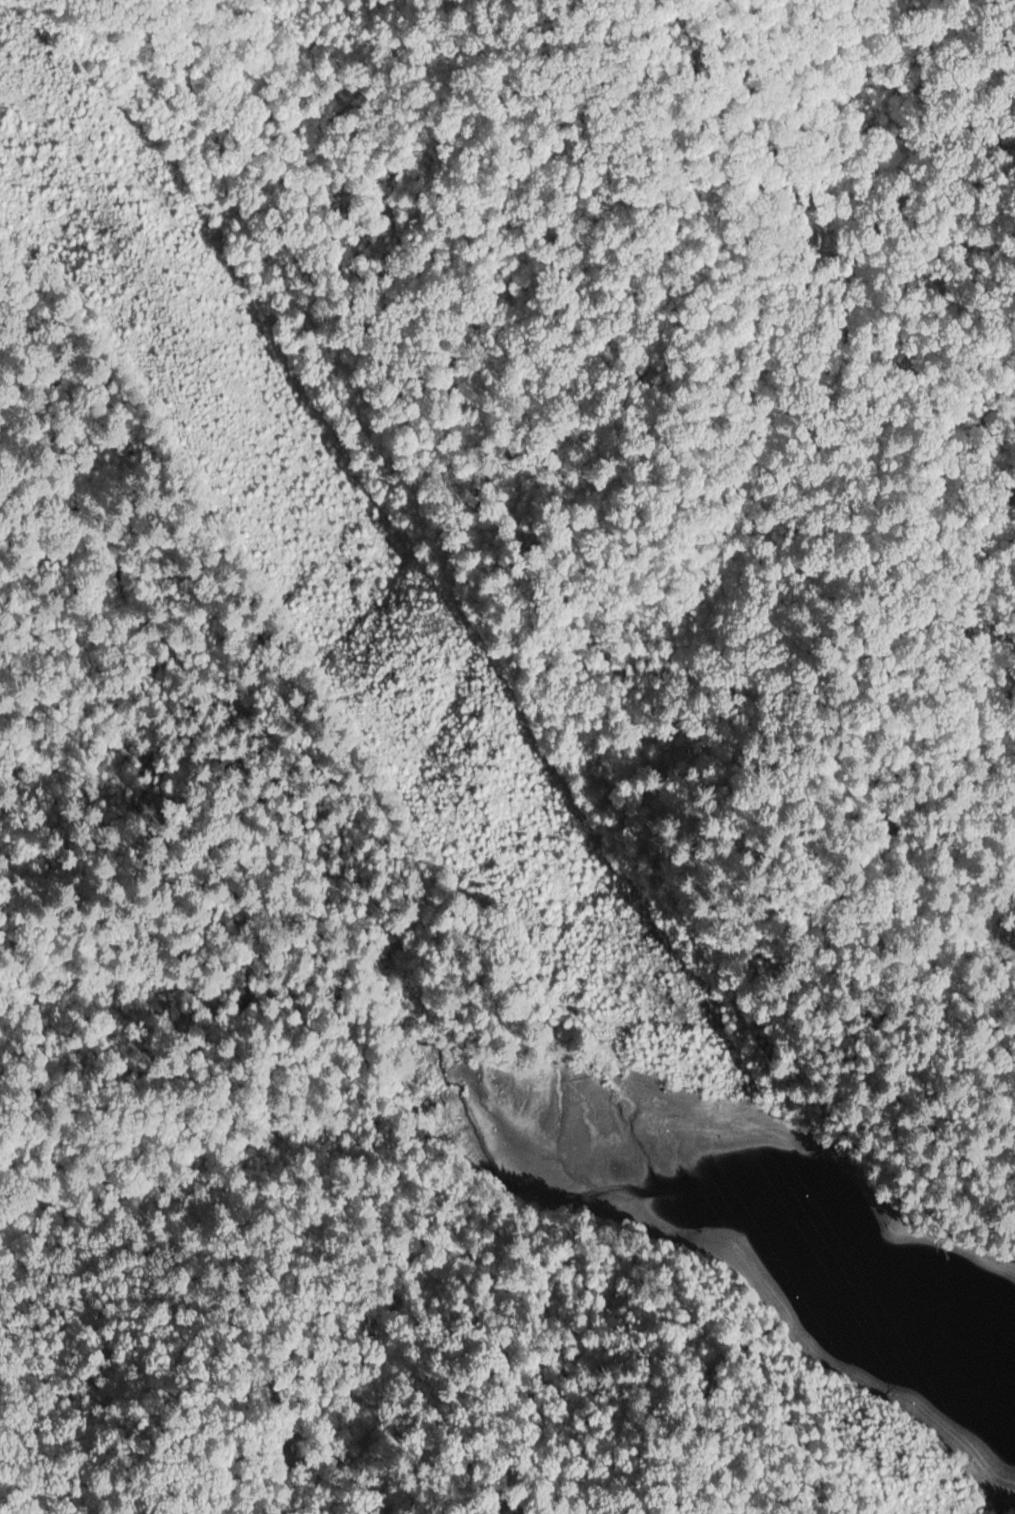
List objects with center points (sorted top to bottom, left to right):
power tower: (164, 201)
power tower: (116, 243)
power tower: (432, 626)
power tower: (445, 771)
power tower: (676, 1014)
power tower: (889, 1472)

